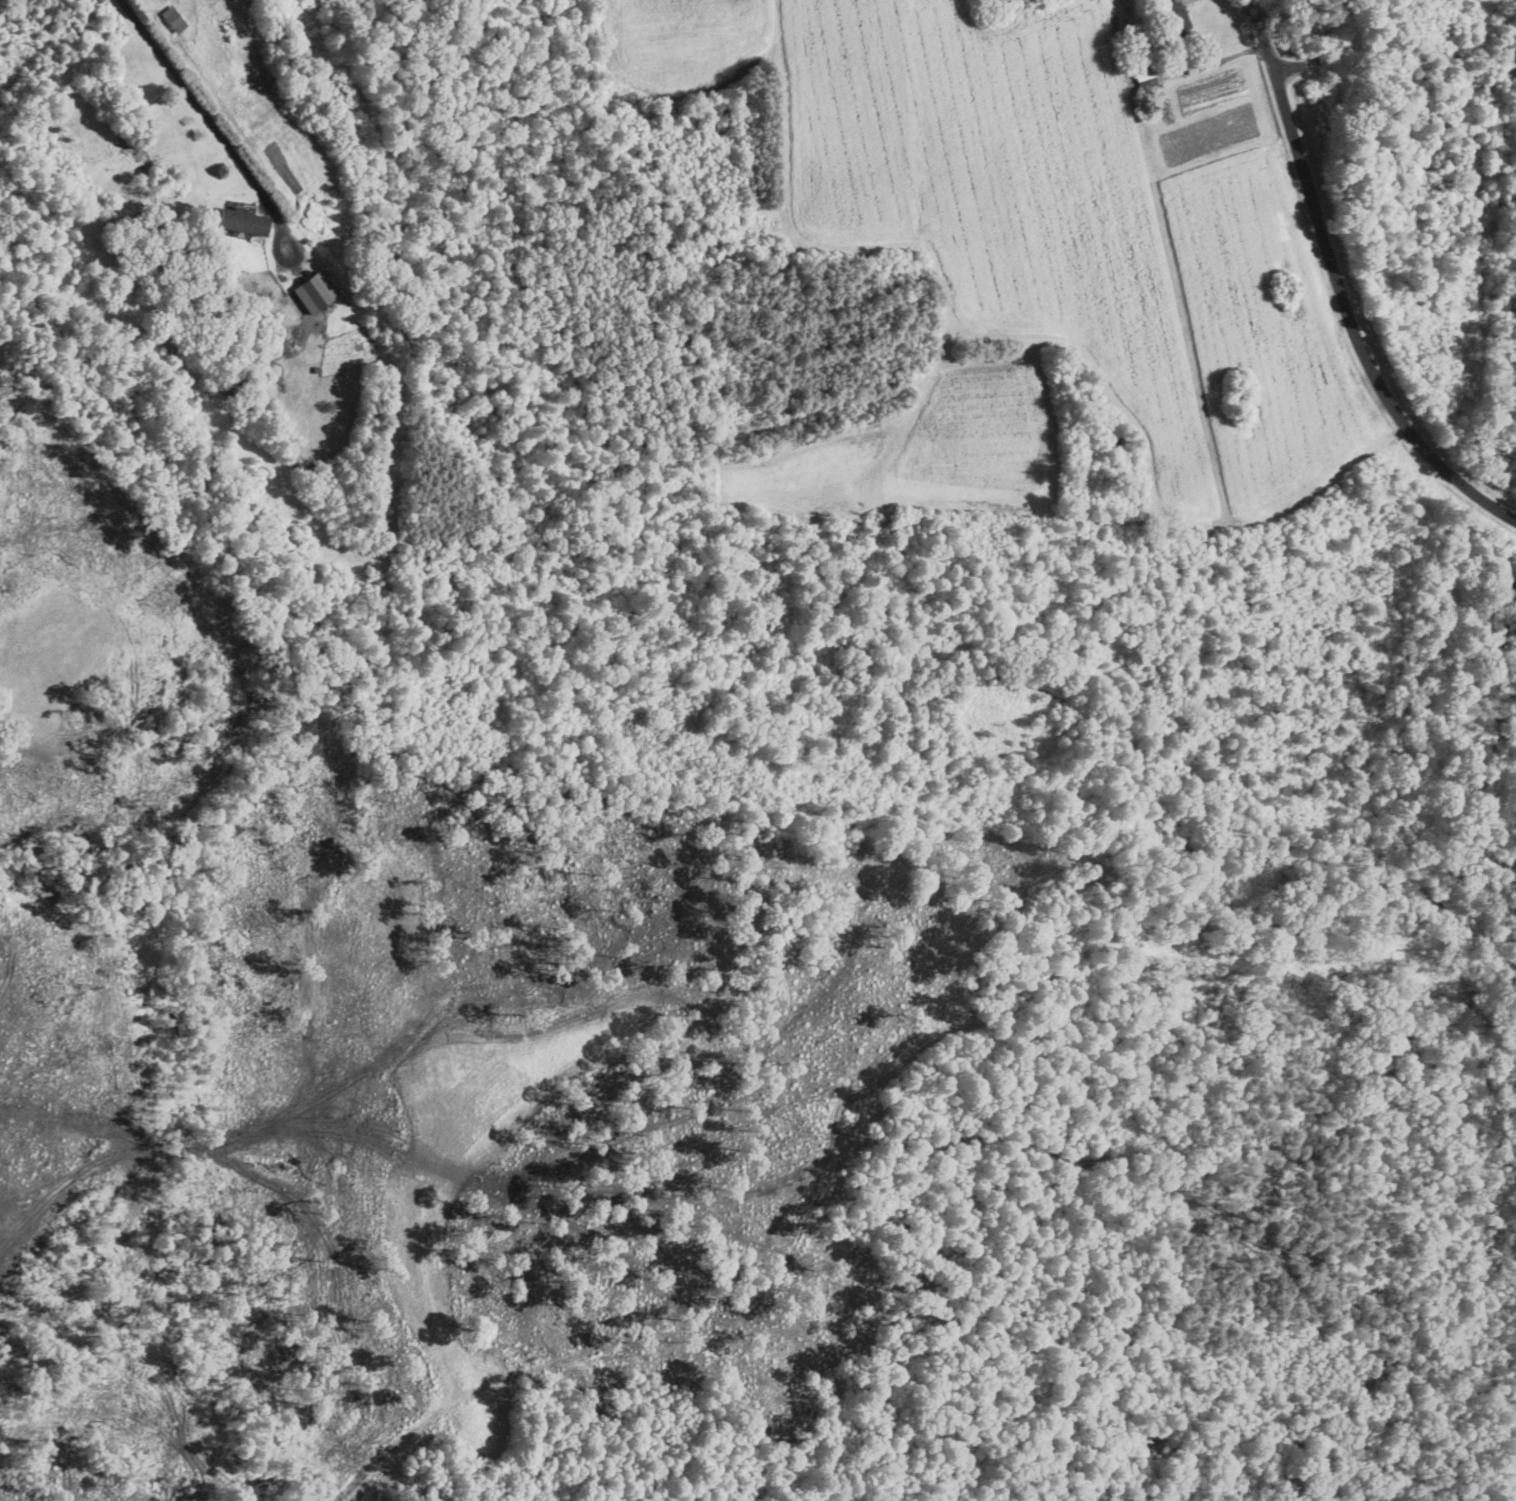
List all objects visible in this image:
building: (1174, 18)
building: (172, 19)
road: (1219, 61)
road: (213, 125)
building: (242, 221)
road: (1340, 285)
building: (313, 292)

